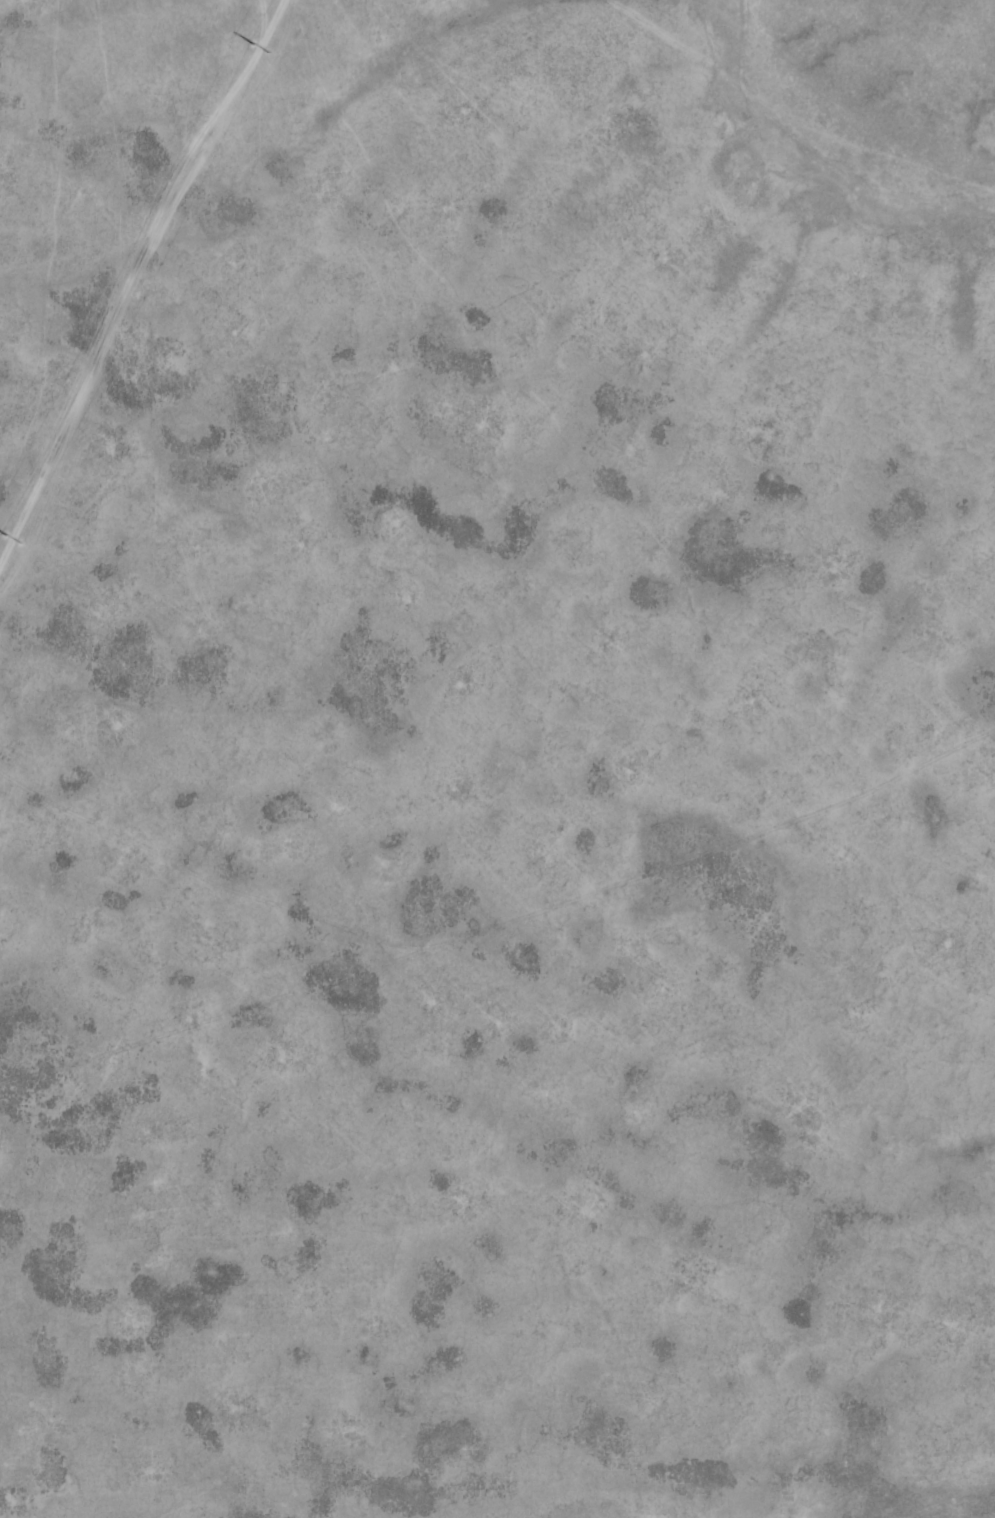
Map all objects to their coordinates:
power tower: (257, 48)
power tower: (12, 539)

